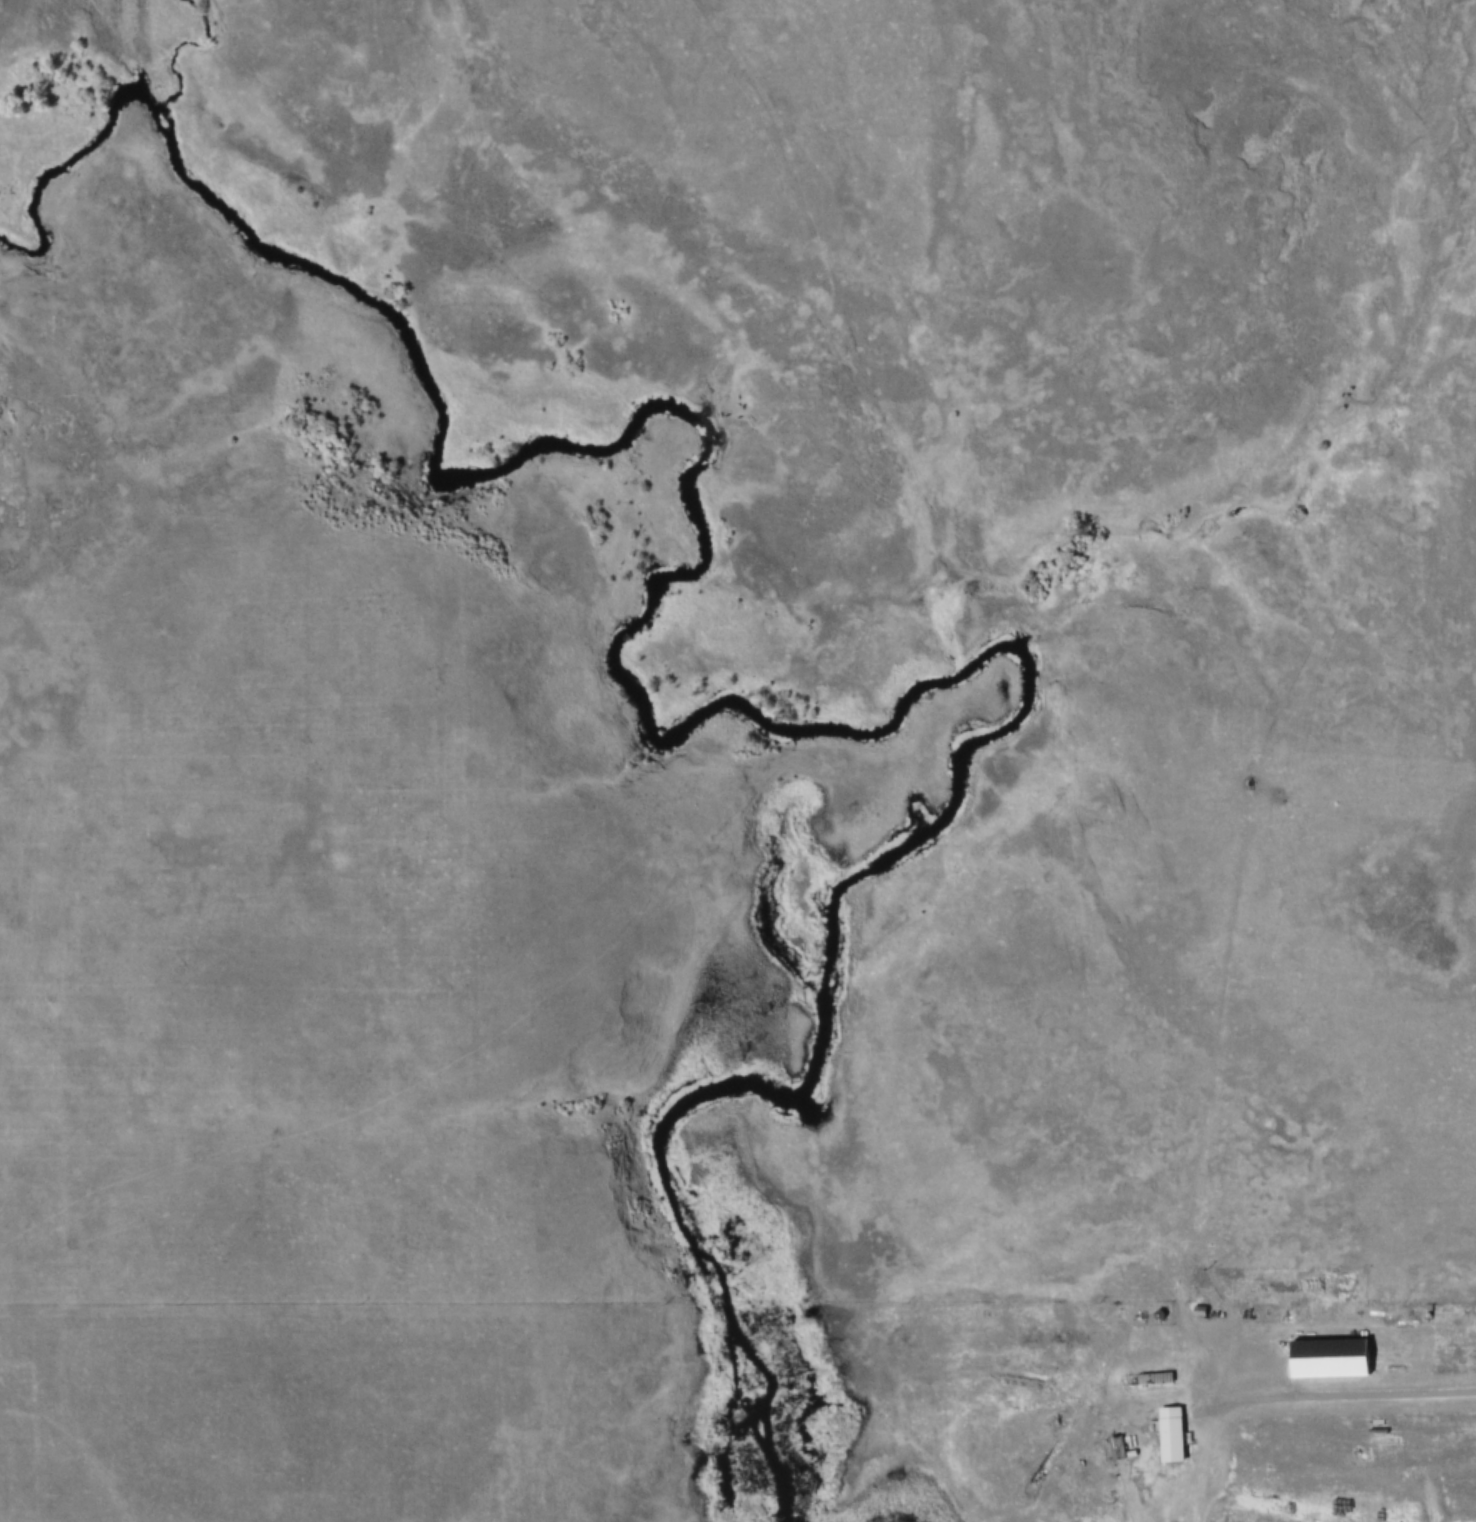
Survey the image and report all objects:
building: (1145, 1379)
building: (1156, 1396)
building: (1119, 1447)

